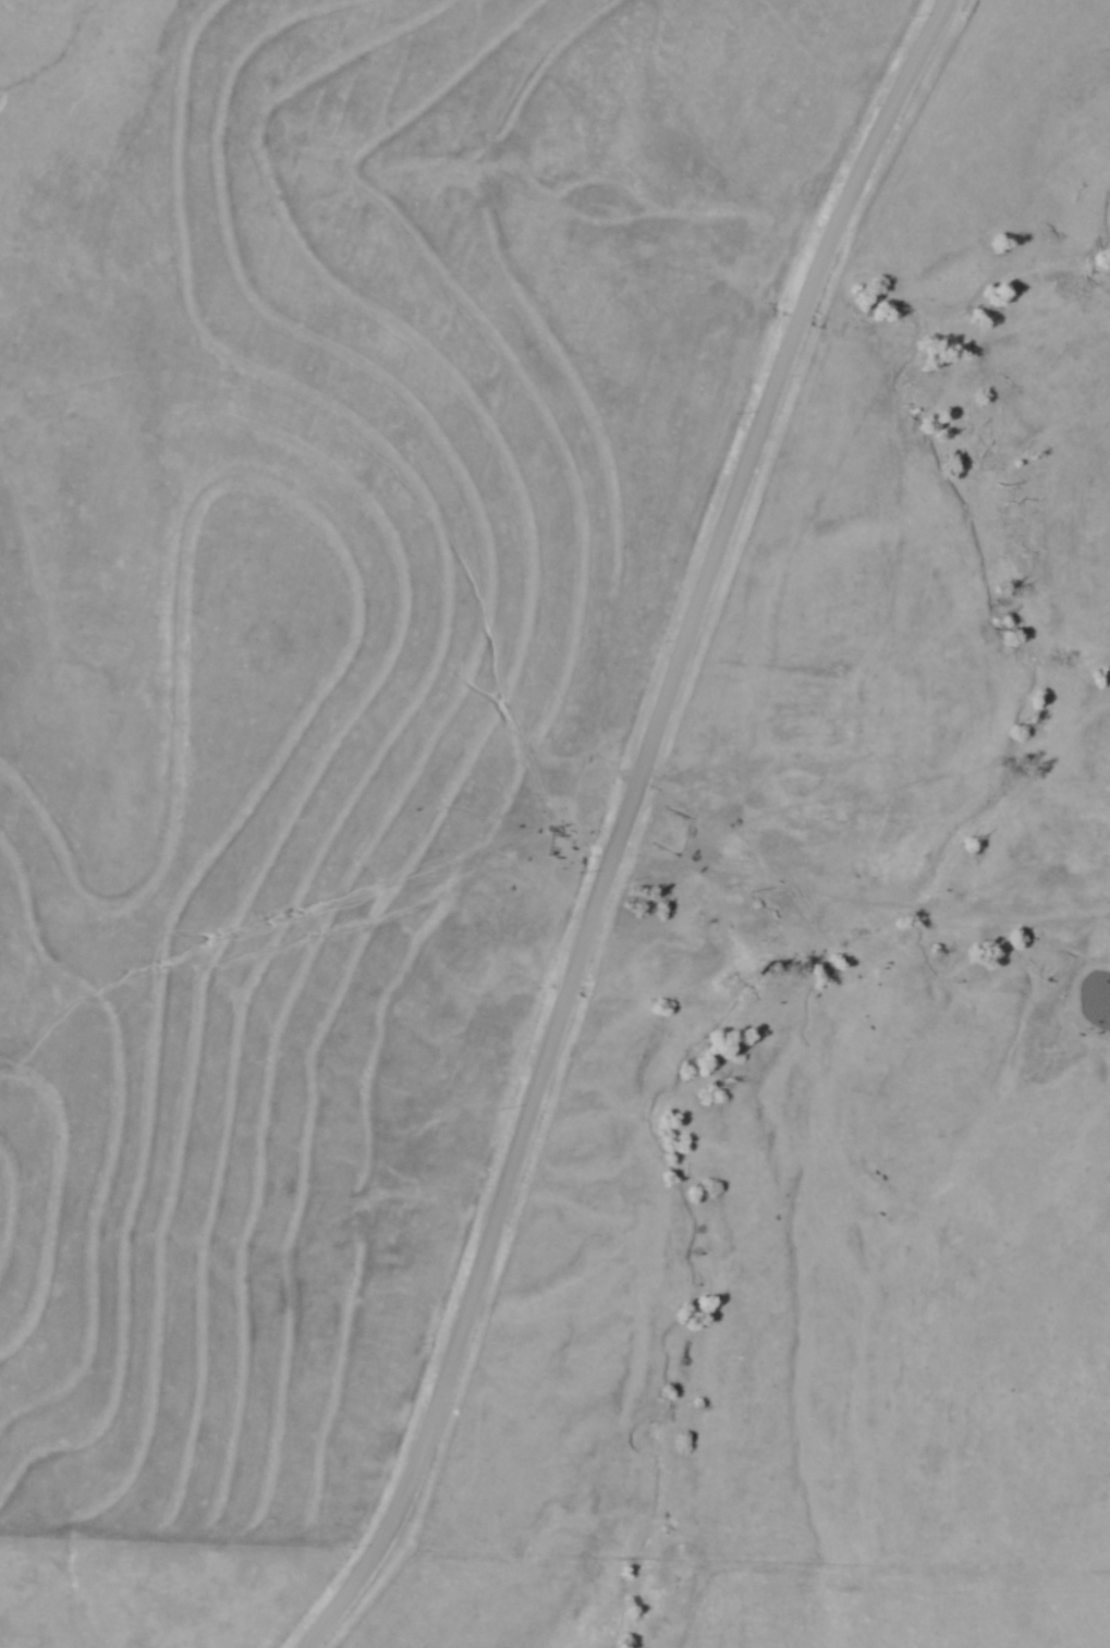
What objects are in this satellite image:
road: (622, 825)

